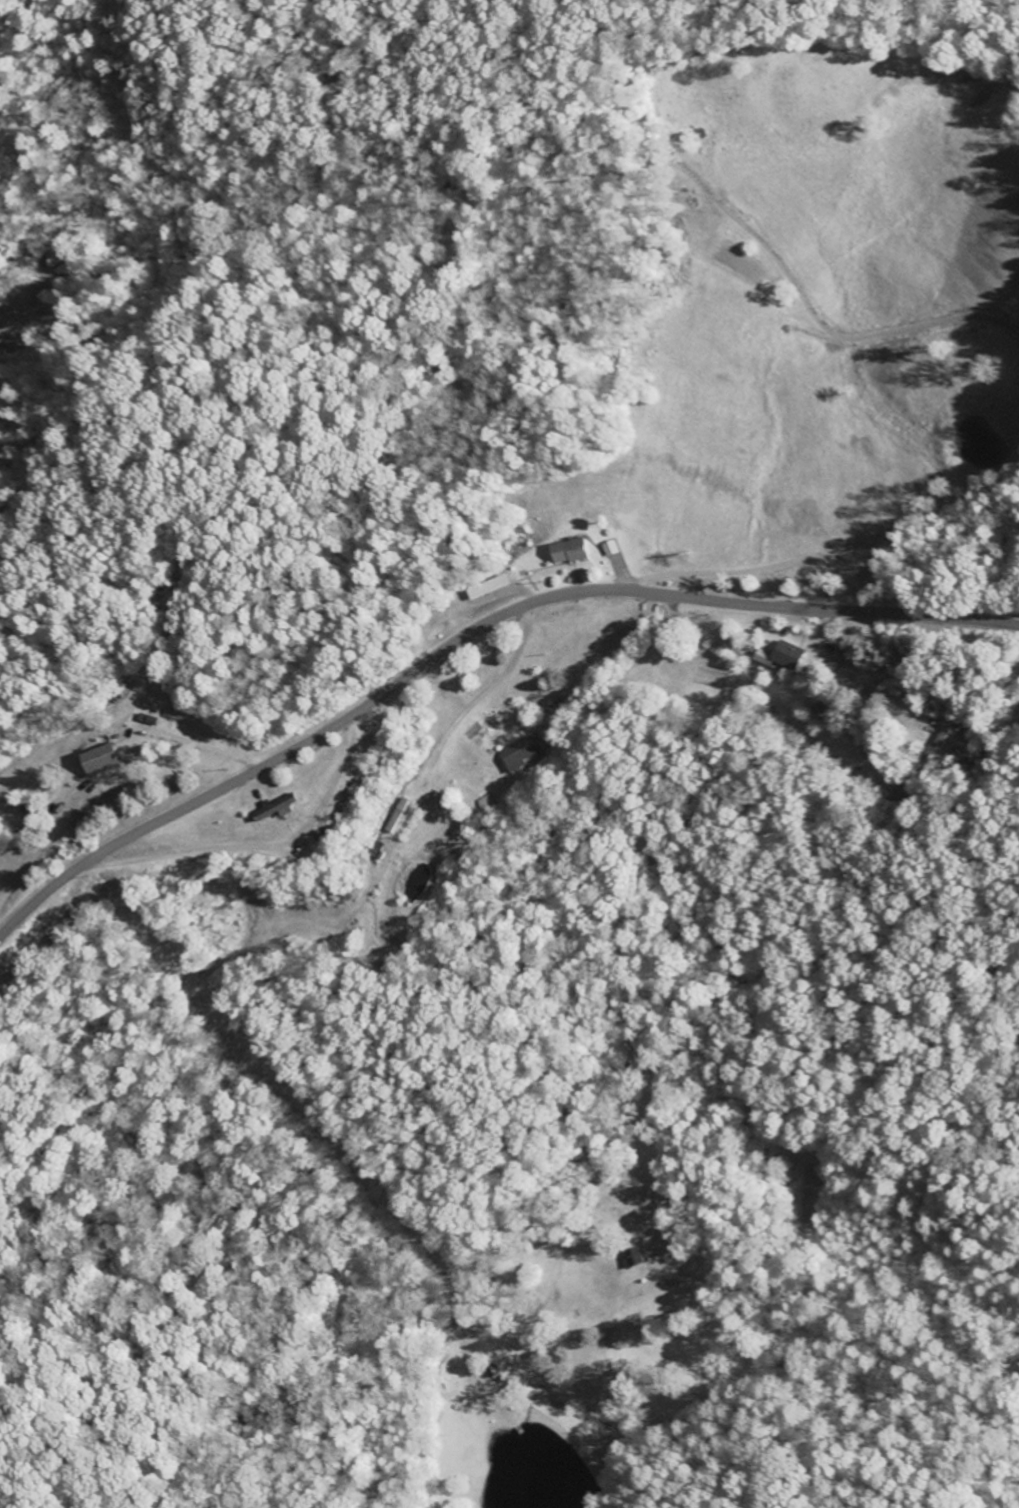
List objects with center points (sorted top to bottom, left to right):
road: (758, 241)
building: (612, 549)
building: (571, 552)
road: (823, 555)
road: (469, 634)
building: (783, 657)
building: (149, 721)
road: (597, 734)
building: (941, 745)
building: (524, 754)
building: (101, 761)
building: (276, 809)
building: (30, 810)
road: (42, 843)
building: (636, 1259)

